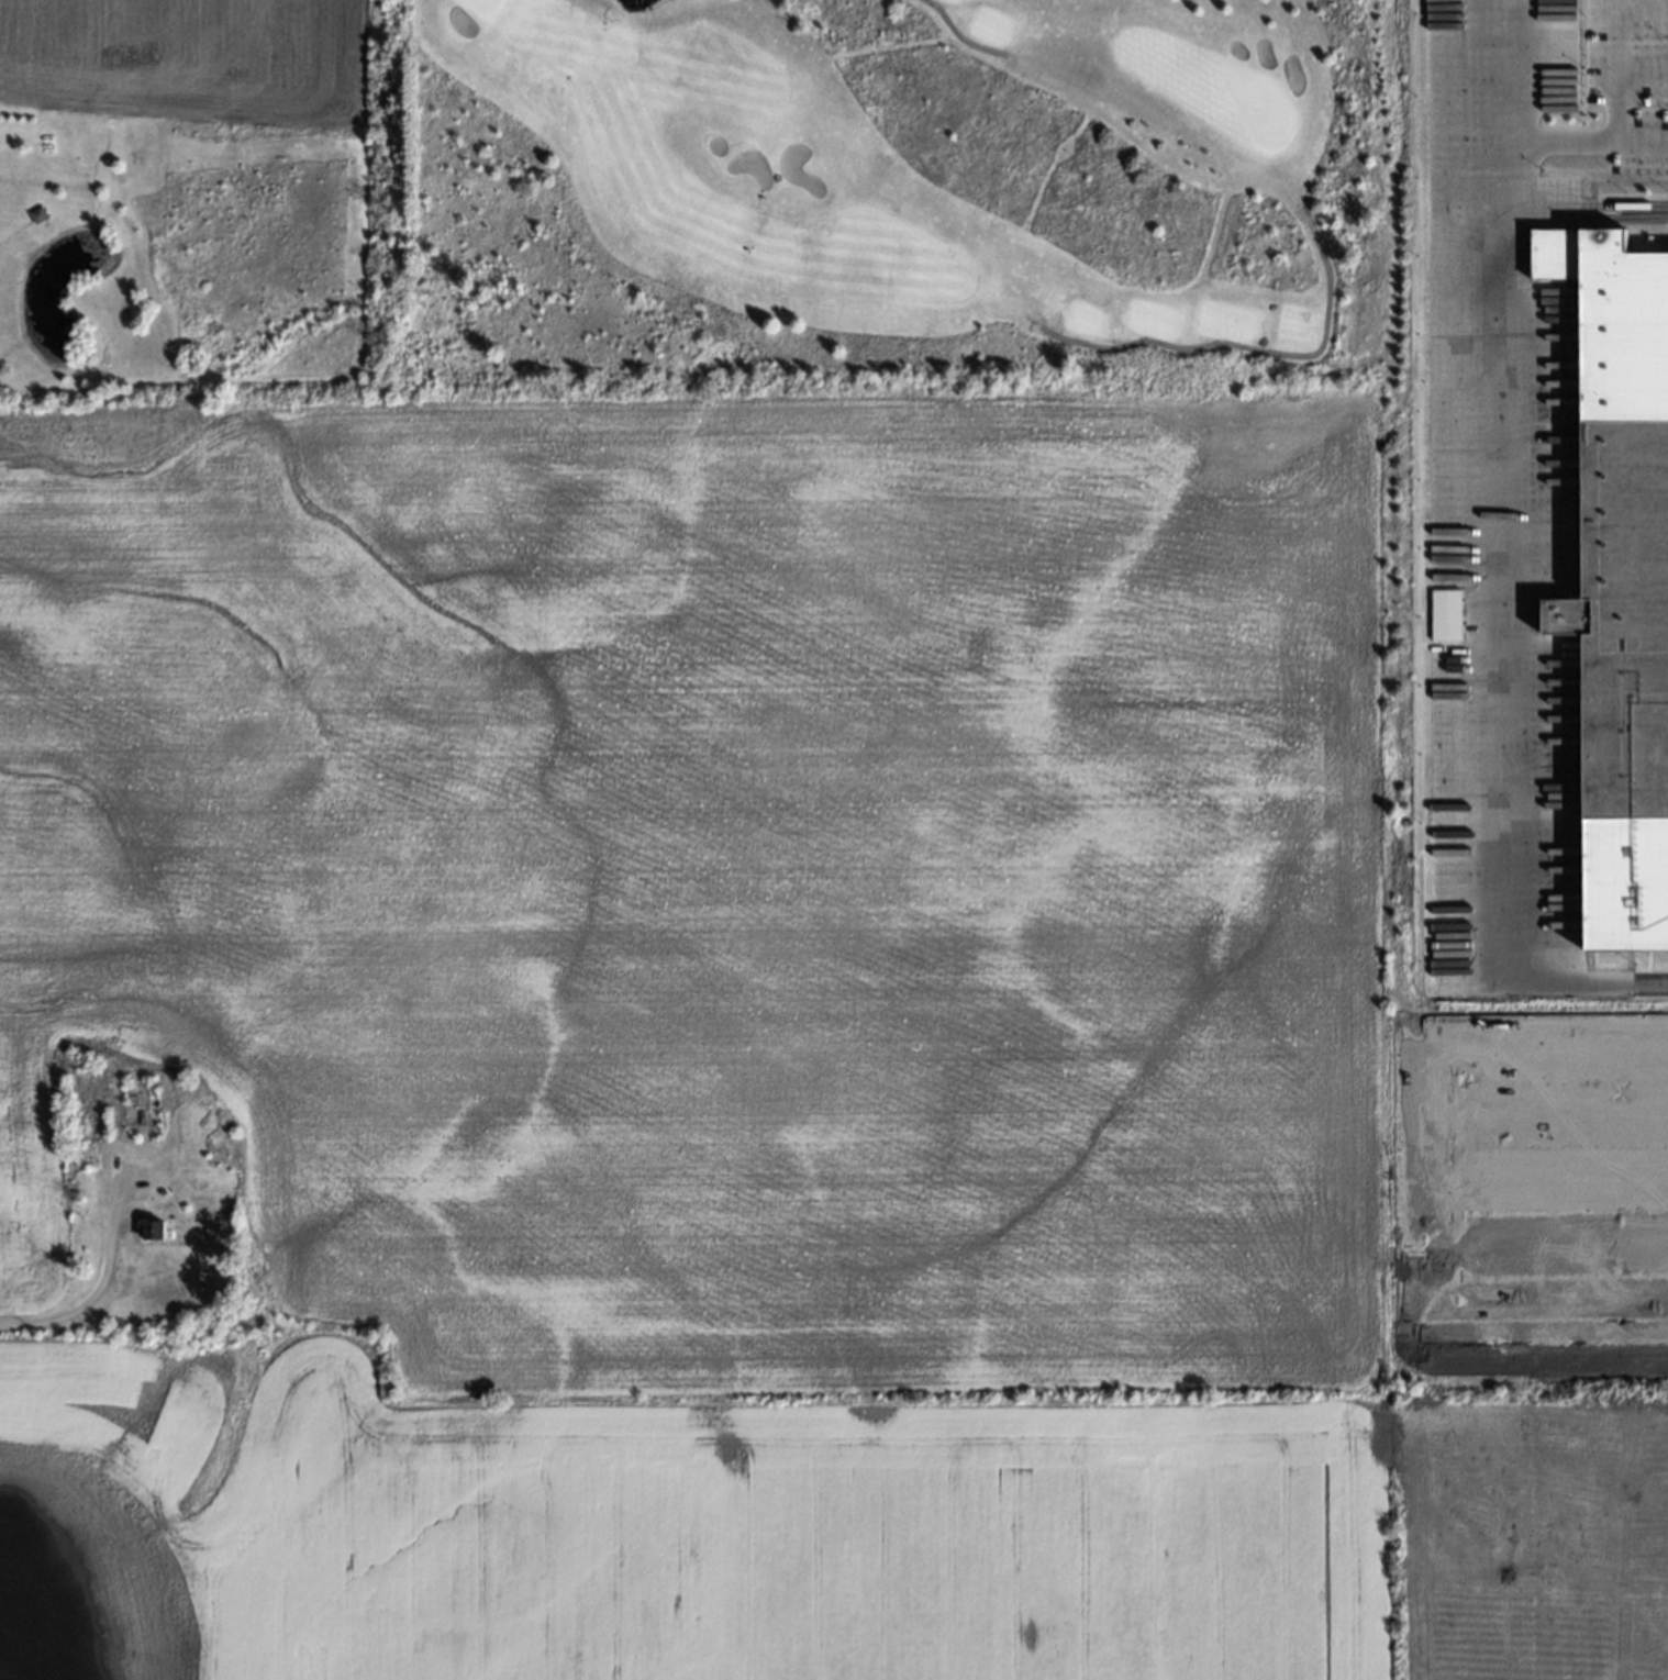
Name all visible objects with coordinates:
building: (770, 1)
road: (1644, 3)
road: (960, 35)
building: (887, 46)
road: (1621, 68)
road: (1644, 70)
road: (1502, 81)
road: (1644, 136)
road: (1530, 143)
building: (1046, 174)
park: (872, 199)
building: (1211, 237)
road: (1244, 345)
road: (1486, 596)
building: (1445, 613)
building: (1625, 620)
road: (1549, 1119)
road: (1432, 1178)
road: (1550, 1180)
building: (152, 1228)
road: (1552, 1245)
road: (96, 1288)

